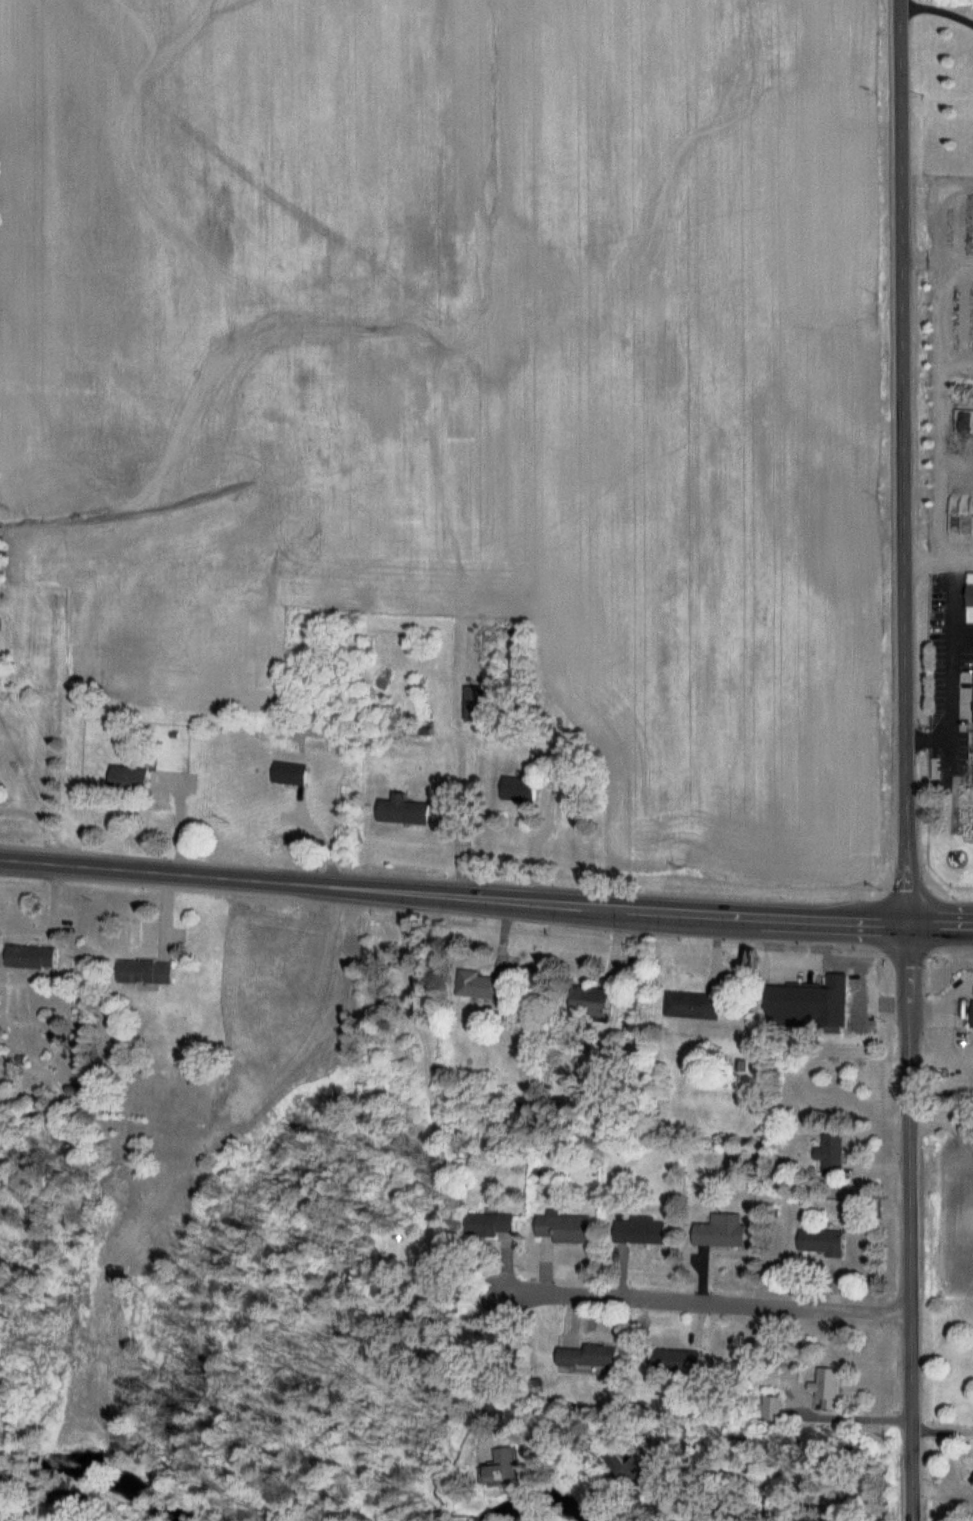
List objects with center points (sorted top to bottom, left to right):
building: (970, 598)
building: (448, 627)
building: (476, 703)
road: (906, 760)
building: (290, 774)
building: (131, 778)
building: (515, 789)
building: (409, 811)
road: (453, 897)
road: (940, 924)
building: (31, 958)
building: (146, 972)
building: (474, 984)
building: (591, 999)
building: (809, 1005)
building: (692, 1006)
building: (972, 1015)
building: (75, 1091)
building: (831, 1155)
building: (491, 1226)
building: (564, 1228)
building: (640, 1231)
building: (722, 1232)
building: (821, 1243)
road: (688, 1293)
building: (590, 1357)
building: (678, 1361)
building: (827, 1388)
building: (771, 1409)
road: (849, 1417)
road: (942, 1432)
building: (499, 1470)
building: (633, 1470)

